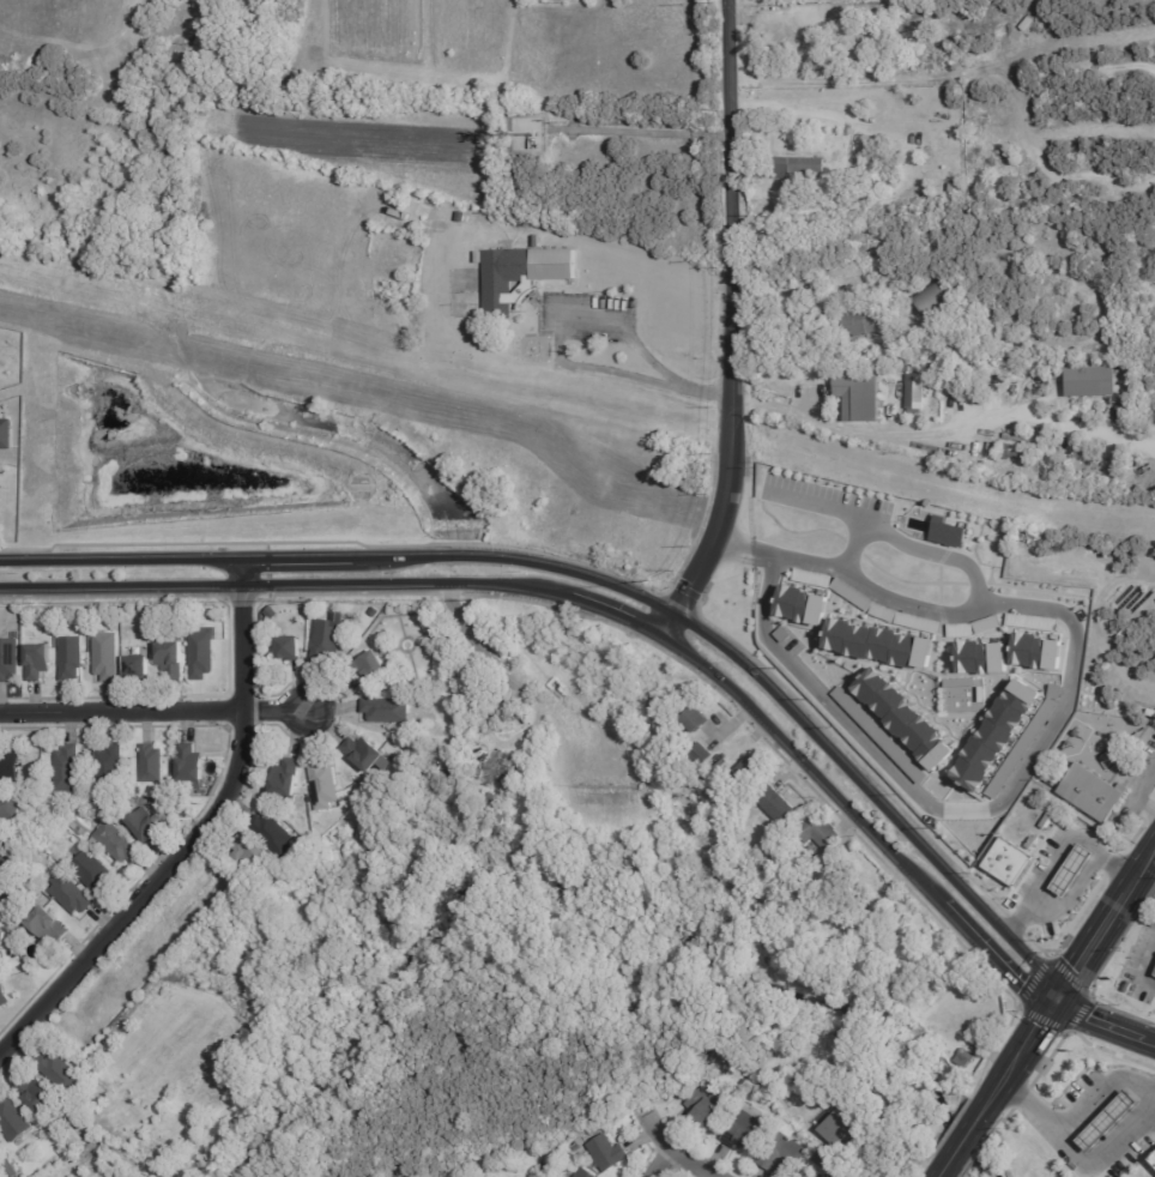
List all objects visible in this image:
building: (804, 24)
road: (321, 26)
road: (81, 43)
road: (843, 122)
building: (860, 152)
building: (799, 168)
building: (401, 200)
building: (422, 233)
building: (522, 277)
building: (905, 278)
building: (930, 300)
building: (853, 324)
road: (731, 327)
road: (280, 328)
building: (955, 350)
building: (939, 355)
road: (558, 358)
road: (806, 358)
building: (1096, 384)
building: (858, 394)
building: (918, 394)
road: (944, 430)
building: (7, 436)
building: (1016, 439)
building: (1011, 454)
building: (6, 472)
building: (0, 478)
building: (0, 487)
road: (941, 487)
road: (841, 512)
building: (945, 532)
road: (929, 554)
building: (811, 578)
road: (613, 584)
building: (802, 605)
building: (150, 610)
road: (601, 610)
building: (375, 612)
building: (273, 614)
building: (896, 617)
building: (1023, 621)
road: (1091, 623)
building: (925, 624)
building: (29, 634)
building: (328, 640)
building: (878, 645)
building: (291, 647)
building: (1036, 652)
building: (173, 654)
building: (202, 654)
building: (107, 657)
building: (72, 658)
building: (981, 658)
building: (8, 659)
building: (38, 662)
building: (138, 666)
building: (369, 670)
road: (155, 710)
building: (387, 710)
building: (903, 718)
road: (1052, 719)
building: (696, 720)
building: (878, 735)
building: (996, 735)
building: (454, 749)
building: (1021, 749)
building: (368, 754)
building: (702, 754)
building: (152, 763)
building: (10, 766)
building: (193, 766)
building: (725, 766)
building: (110, 767)
building: (67, 769)
building: (510, 772)
building: (746, 779)
building: (288, 780)
building: (325, 785)
building: (138, 791)
building: (460, 791)
building: (1094, 793)
road: (1135, 796)
building: (494, 797)
building: (104, 805)
building: (775, 805)
building: (10, 807)
building: (480, 810)
building: (144, 823)
building: (37, 827)
building: (820, 831)
building: (496, 833)
building: (274, 834)
road: (196, 837)
building: (5, 839)
building: (117, 843)
building: (252, 852)
building: (26, 857)
building: (1009, 863)
building: (6, 870)
building: (1071, 870)
road: (1141, 871)
building: (93, 874)
road: (1144, 887)
road: (1047, 888)
building: (71, 894)
building: (12, 897)
building: (851, 923)
building: (48, 926)
building: (0, 928)
building: (1, 938)
road: (1090, 948)
building: (1153, 972)
building: (4, 996)
traffic signals: (1057, 1003)
park: (403, 1015)
road: (1106, 1022)
road: (1040, 1027)
building: (62, 1074)
road: (1006, 1078)
road: (1102, 1093)
building: (37, 1094)
building: (682, 1094)
building: (705, 1110)
building: (13, 1121)
building: (1101, 1121)
building: (71, 1122)
building: (845, 1127)
building: (745, 1133)
road: (968, 1135)
building: (66, 1139)
road: (676, 1151)
building: (606, 1154)
building: (784, 1154)
road: (1080, 1155)
building: (1151, 1158)
building: (488, 1160)
building: (822, 1160)
road: (658, 1161)
building: (11, 1170)
building: (545, 1170)
road: (943, 1171)
building: (585, 1173)
building: (561, 1176)
building: (820, 1176)
building: (826, 1176)
building: (835, 1176)
building: (840, 1176)

